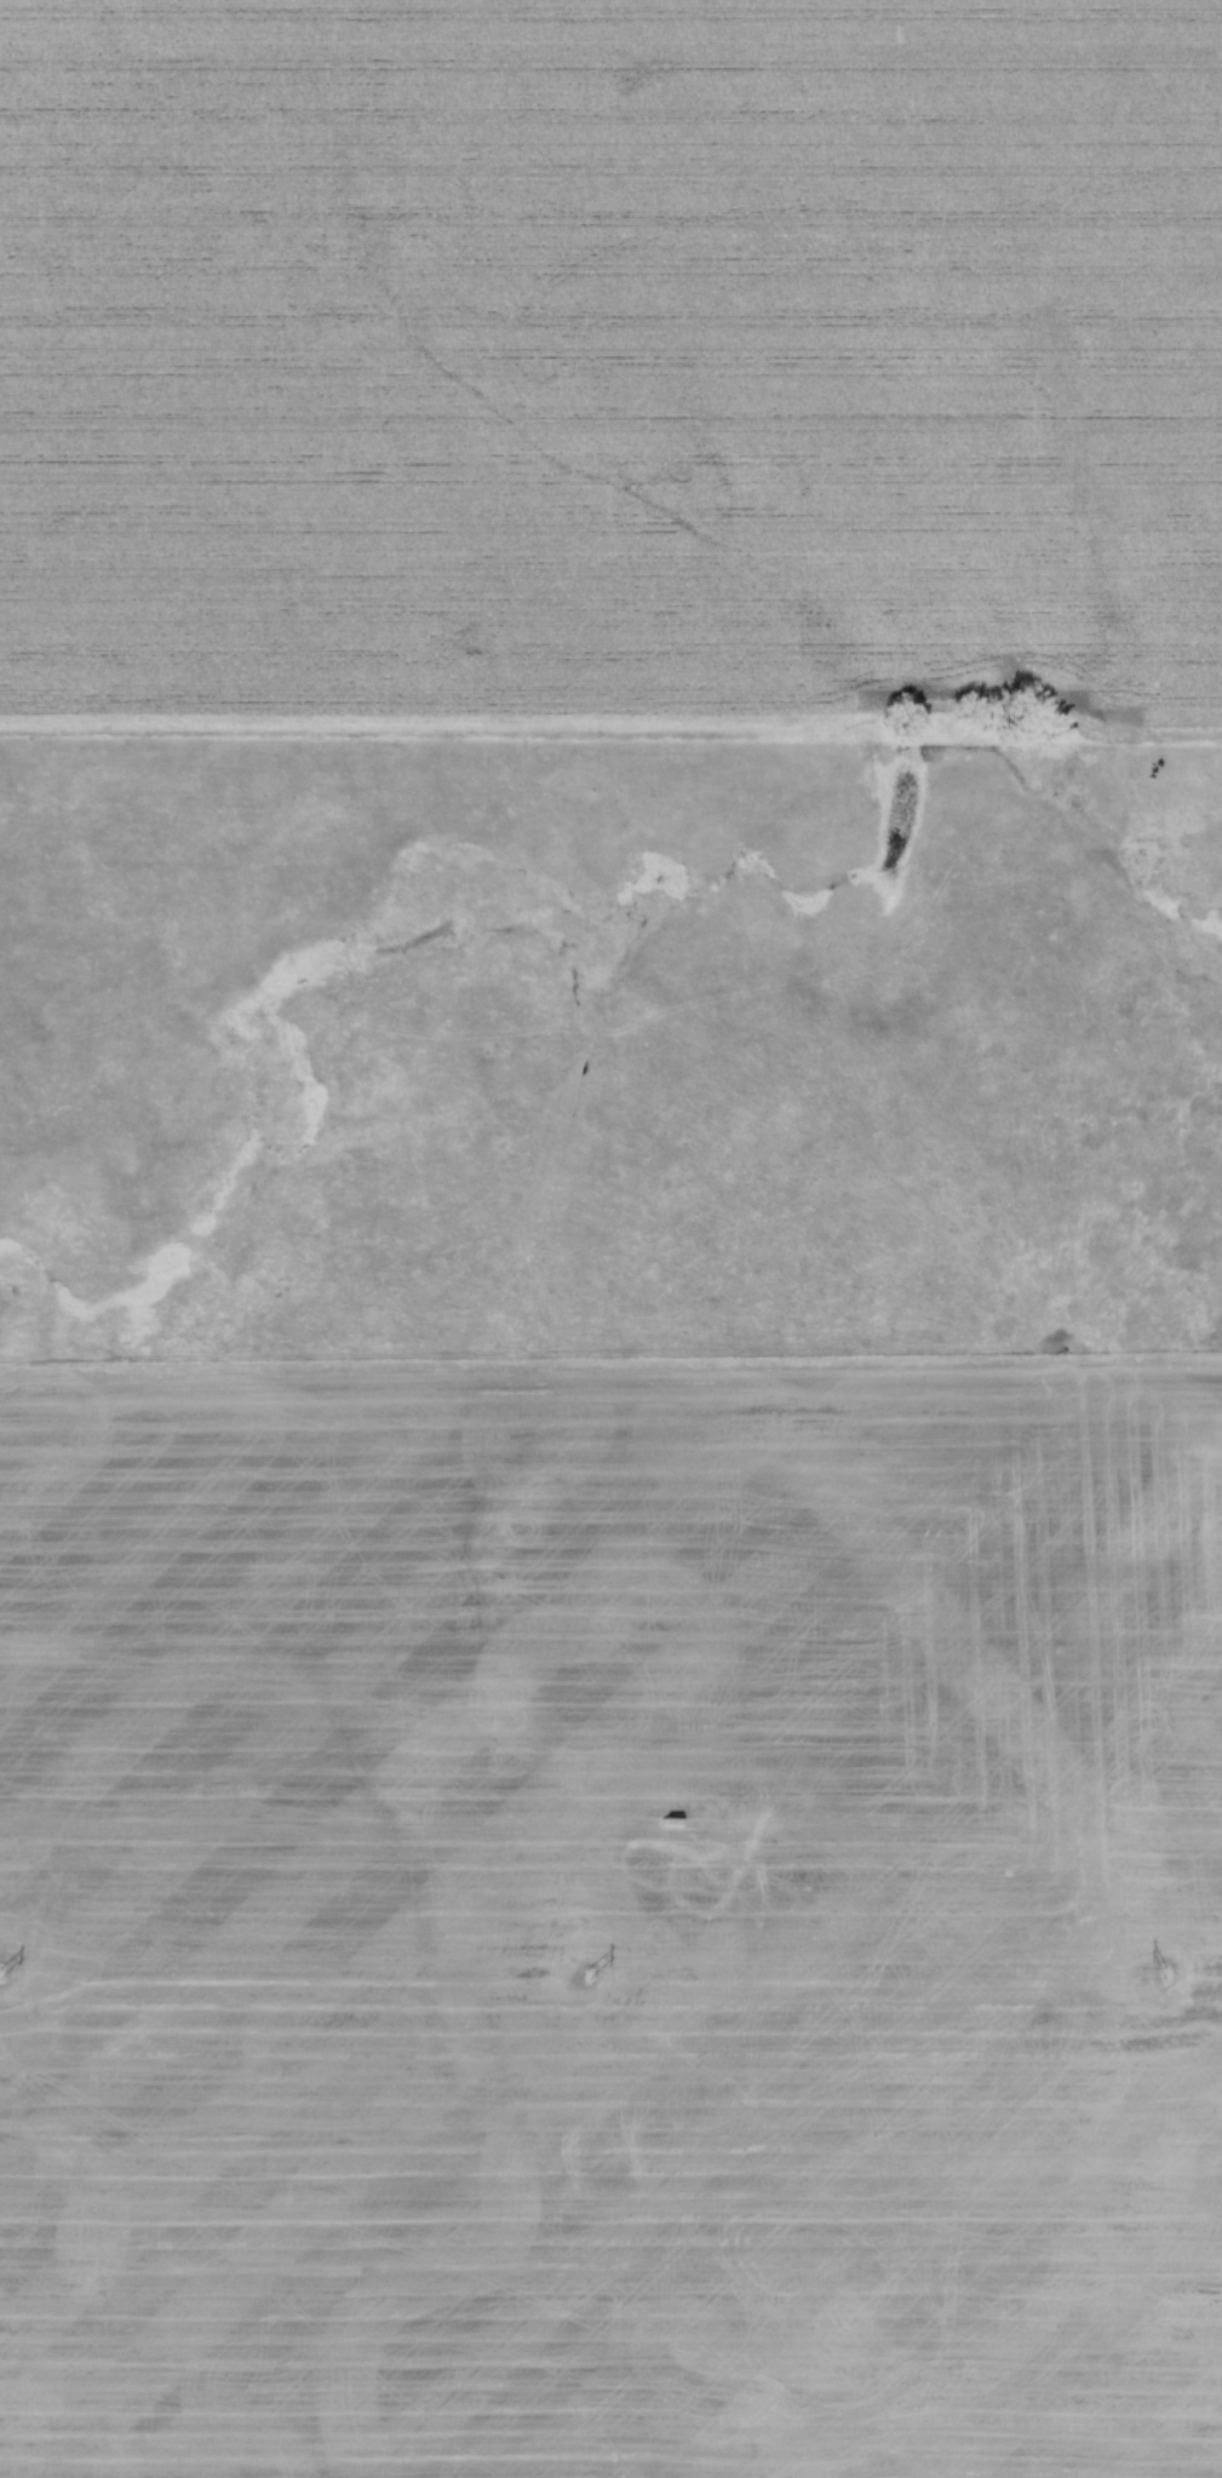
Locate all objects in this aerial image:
power tower: (1165, 1974)
power tower: (585, 1975)

